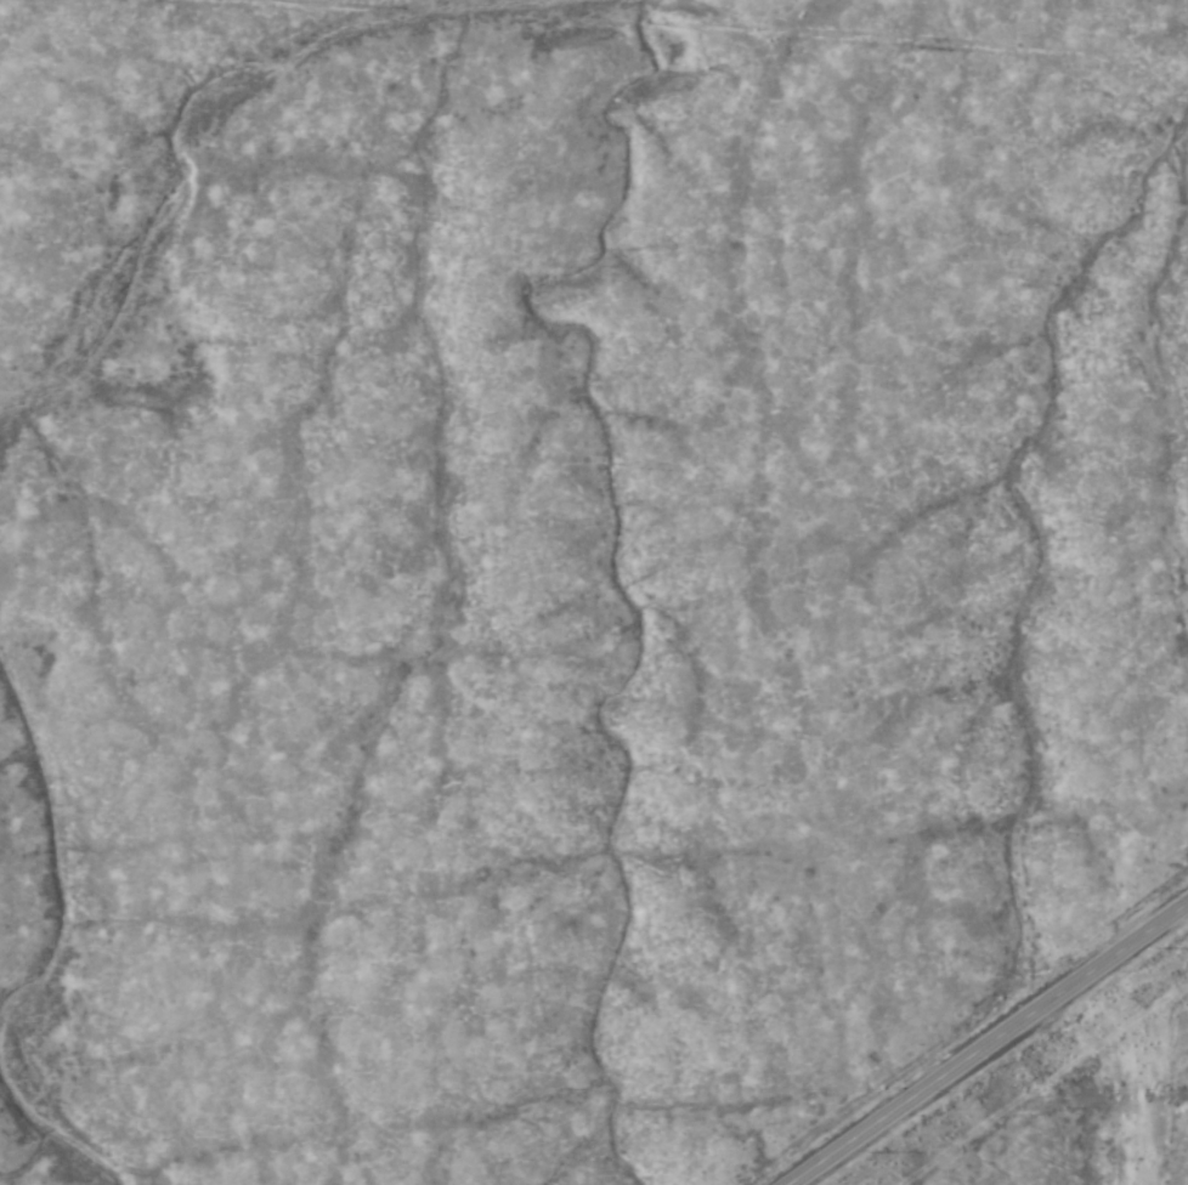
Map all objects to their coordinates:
road: (988, 1043)

